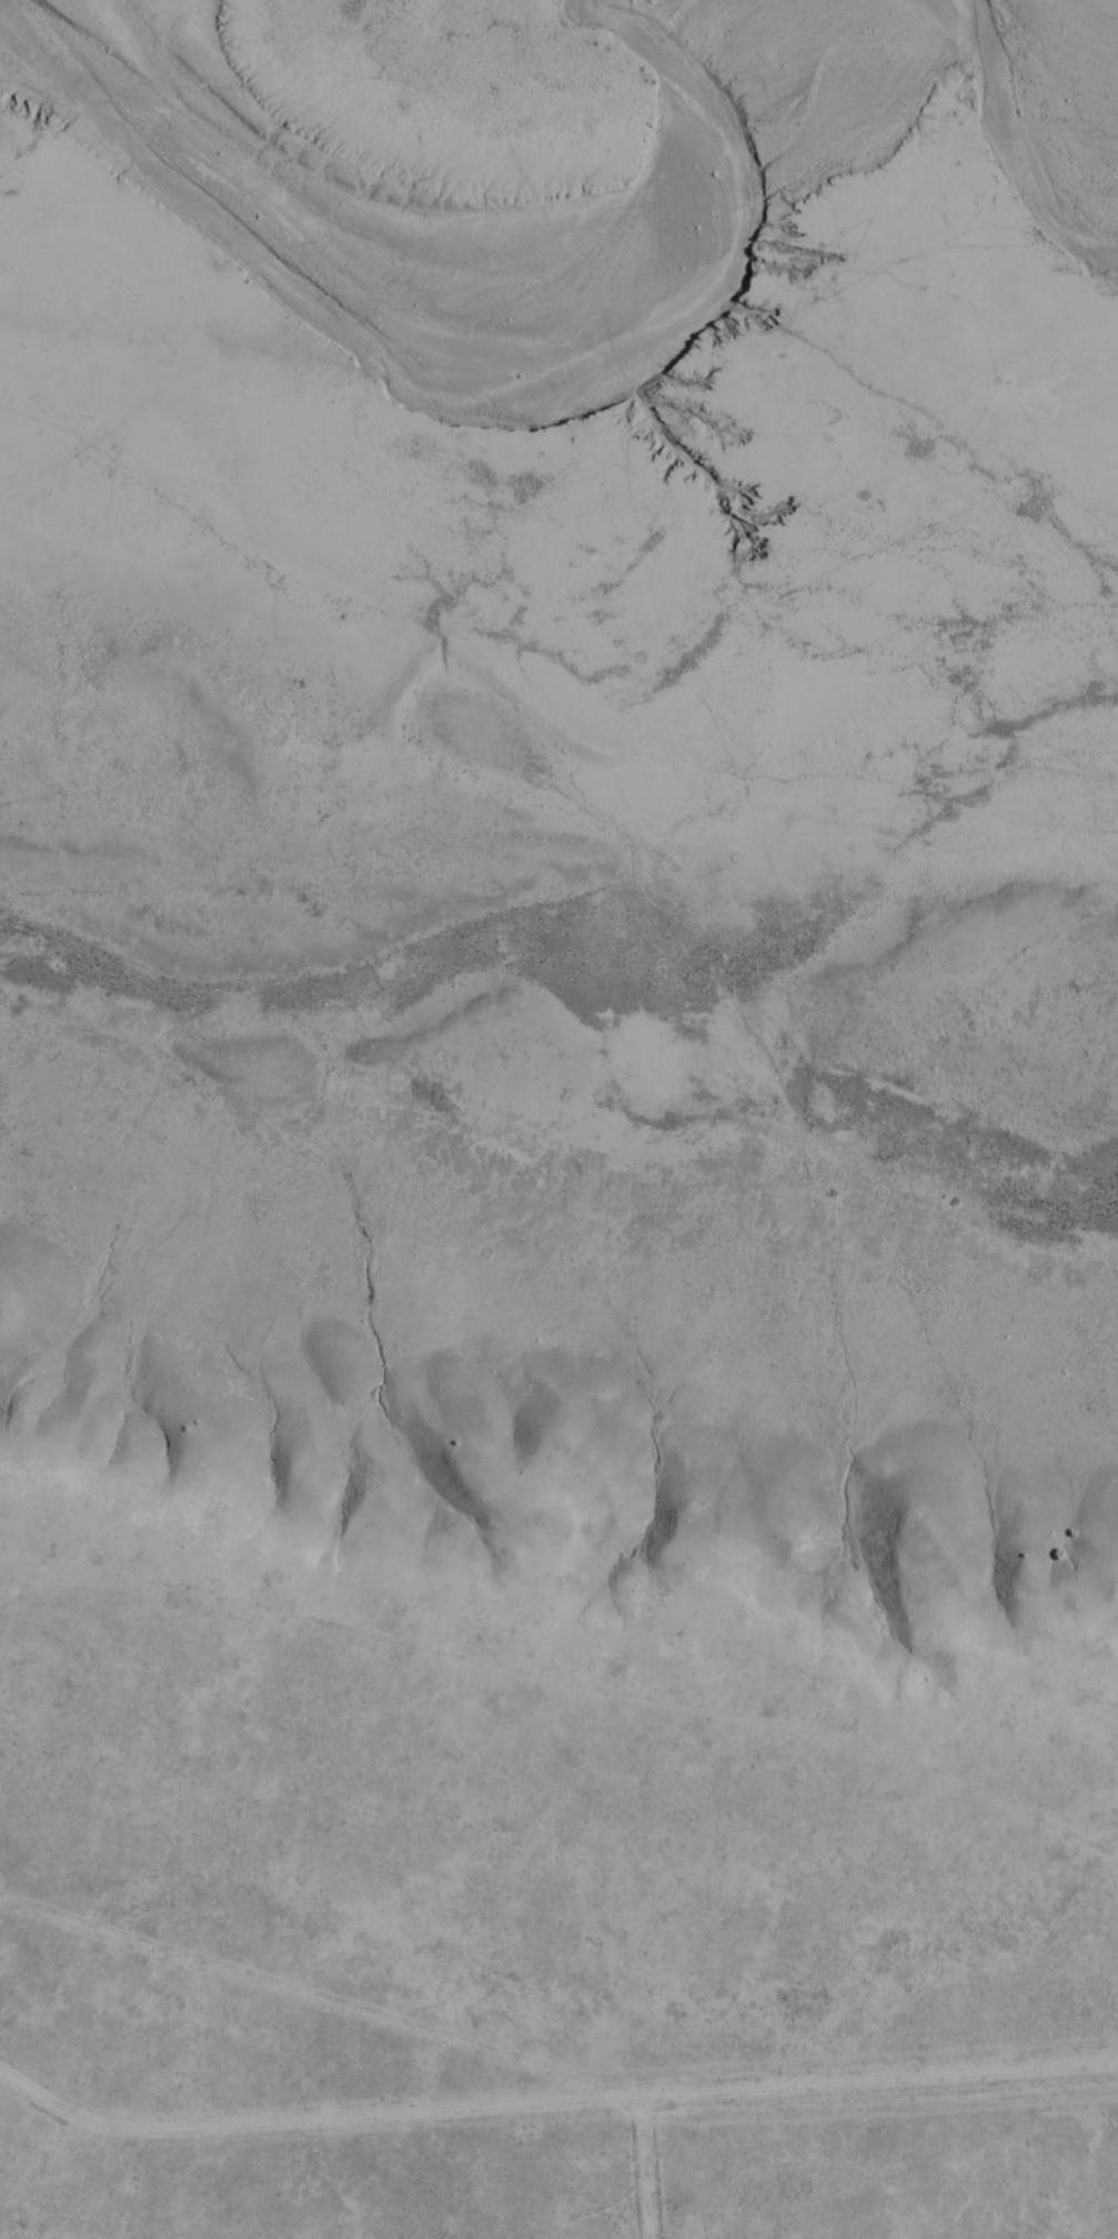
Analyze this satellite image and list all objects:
road: (548, 1242)

